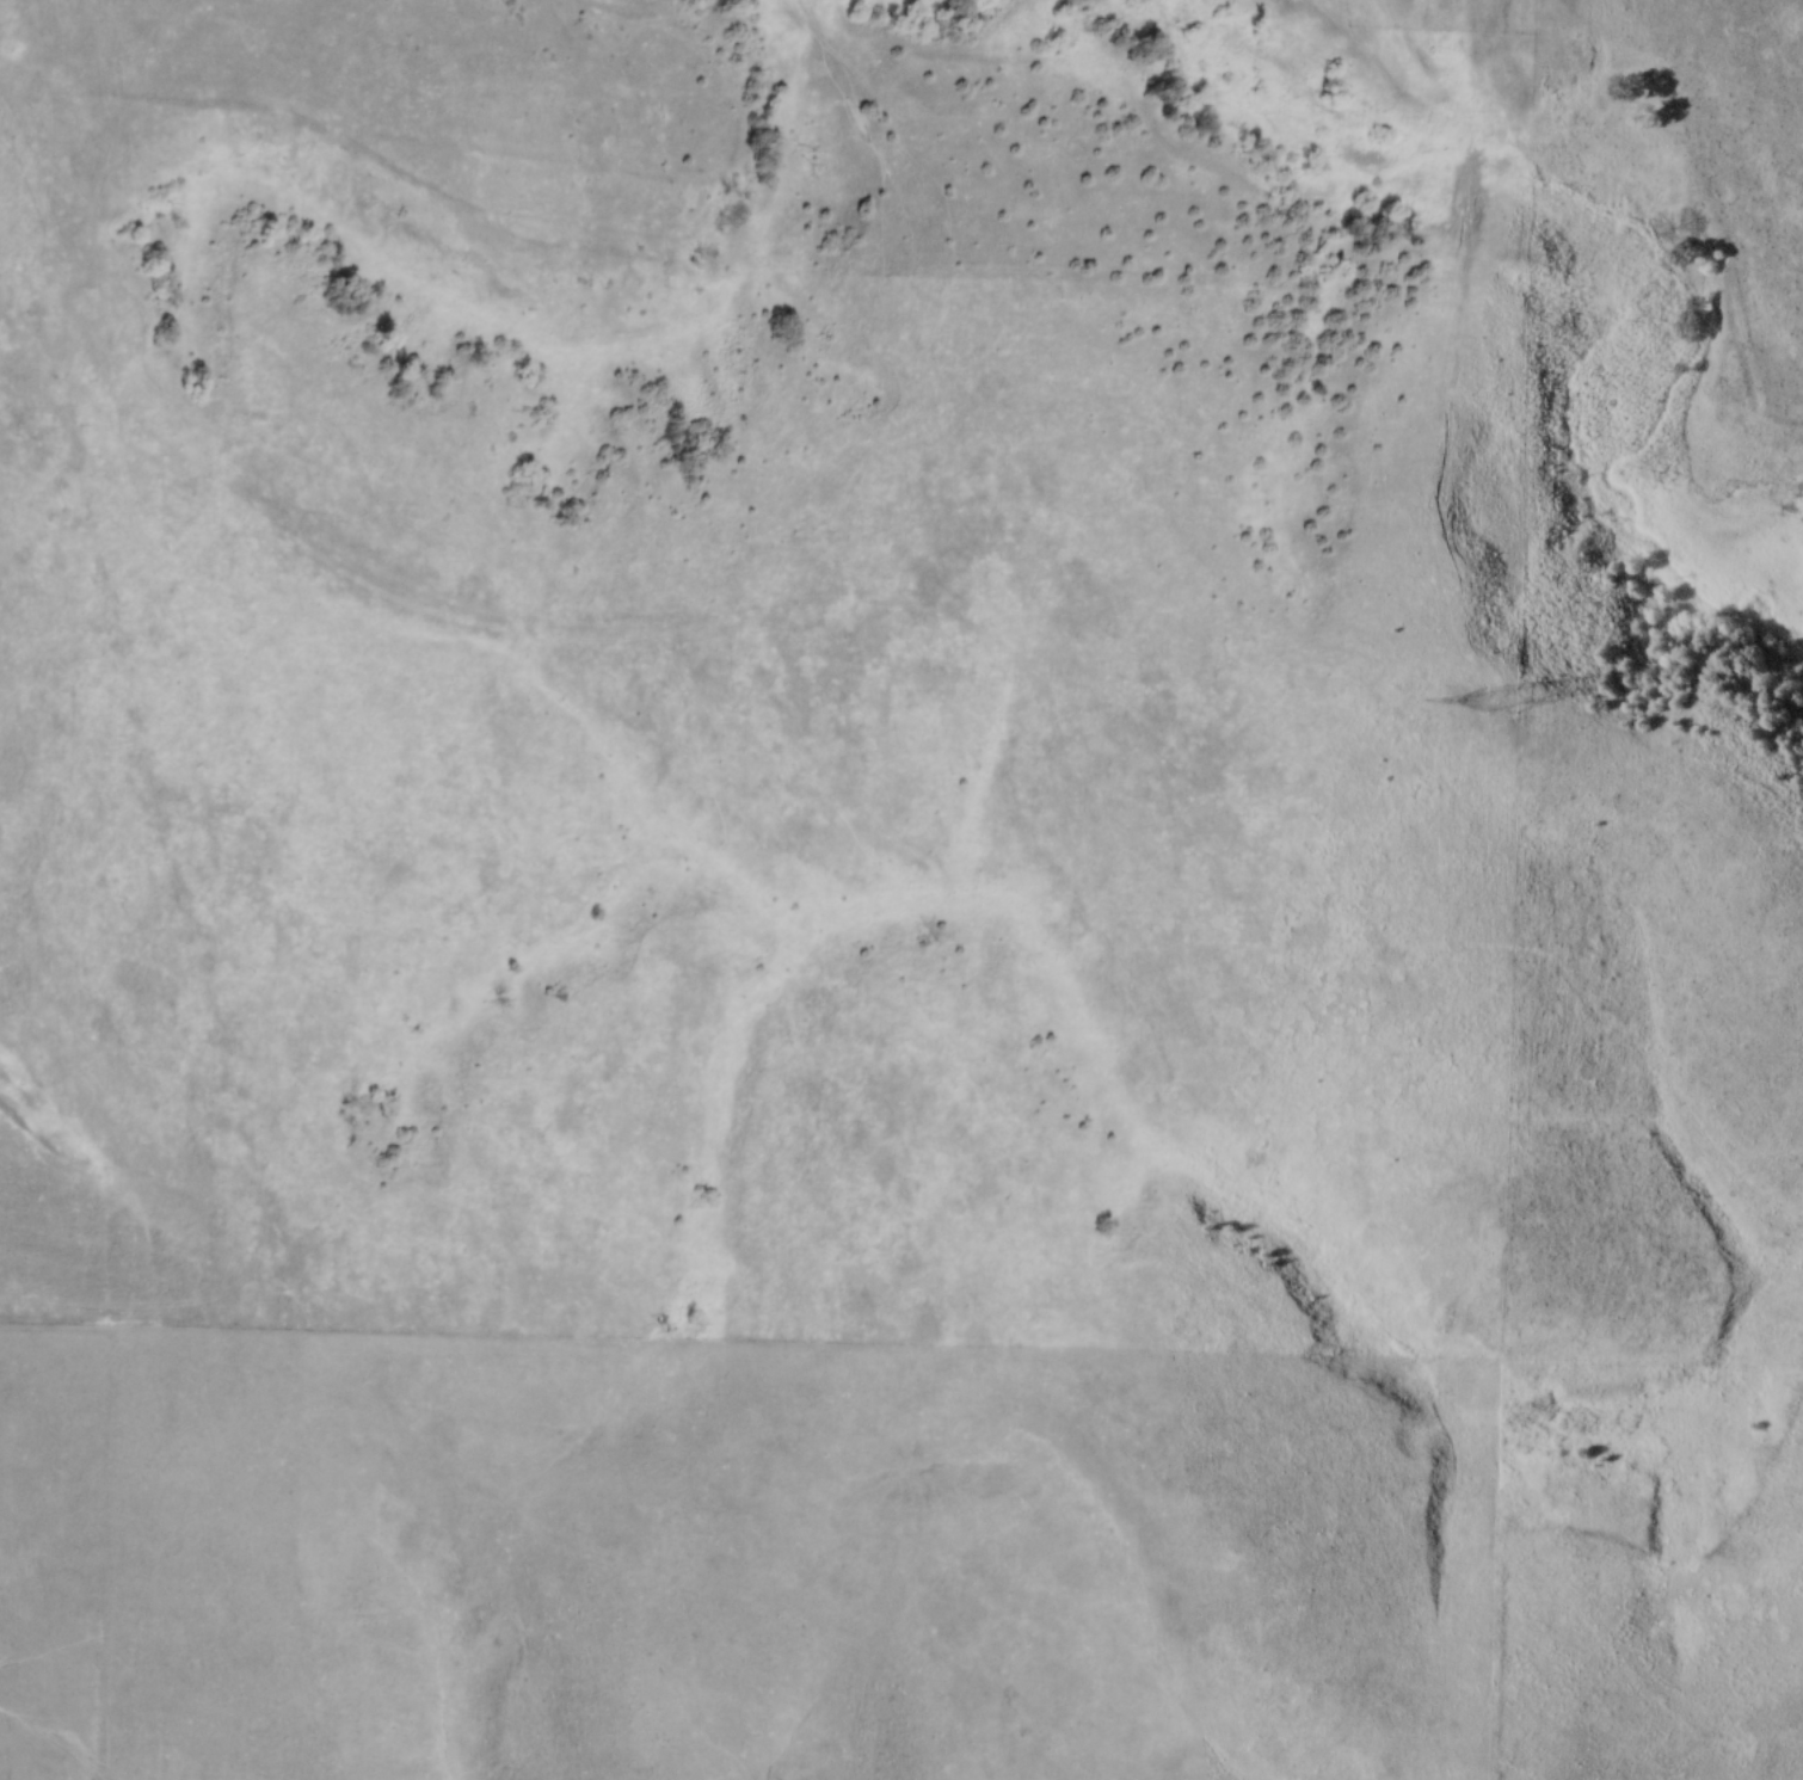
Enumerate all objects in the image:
power tower: (1502, 701)

